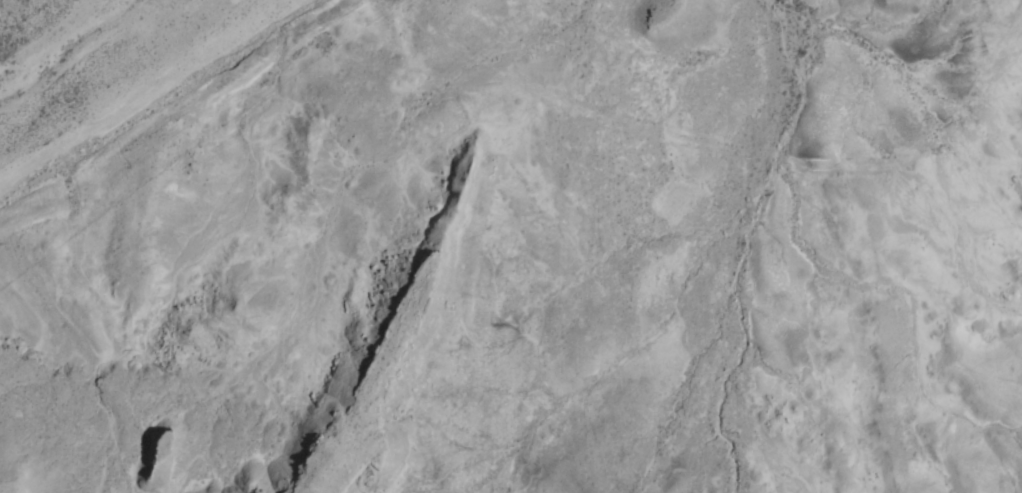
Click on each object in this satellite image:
quarry: (61, 333)

